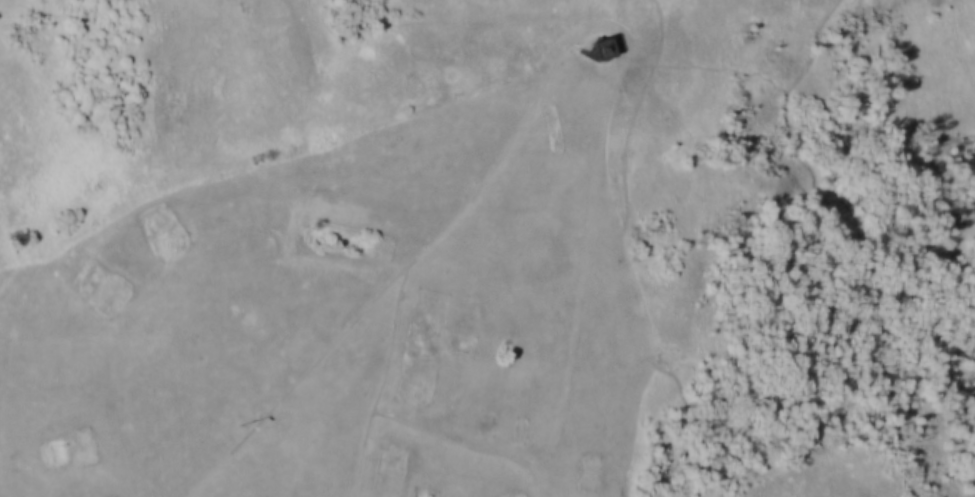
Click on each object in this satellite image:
building: (593, 47)
park: (487, 248)
road: (162, 277)
road: (393, 277)
road: (390, 338)
road: (422, 429)

